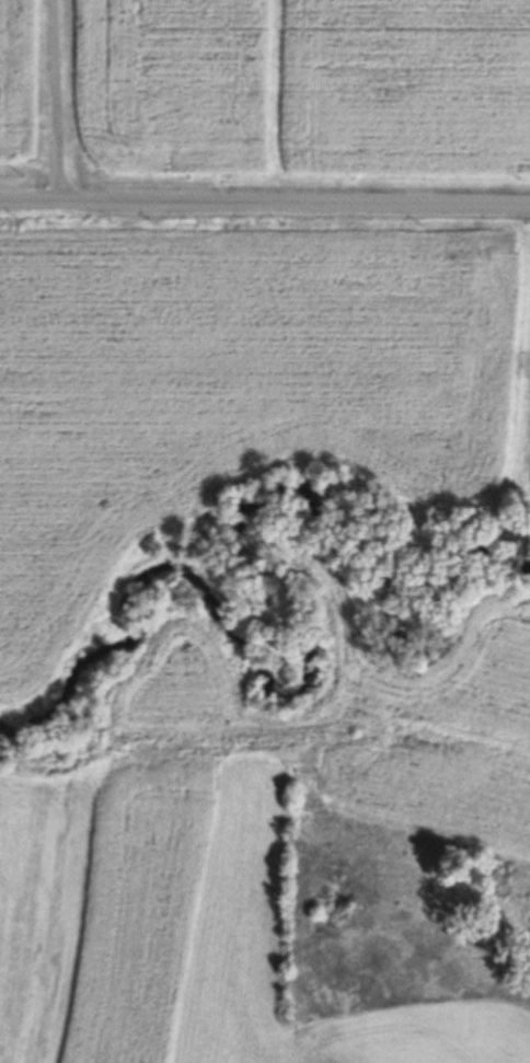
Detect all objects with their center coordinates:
road: (55, 100)
road: (265, 200)

